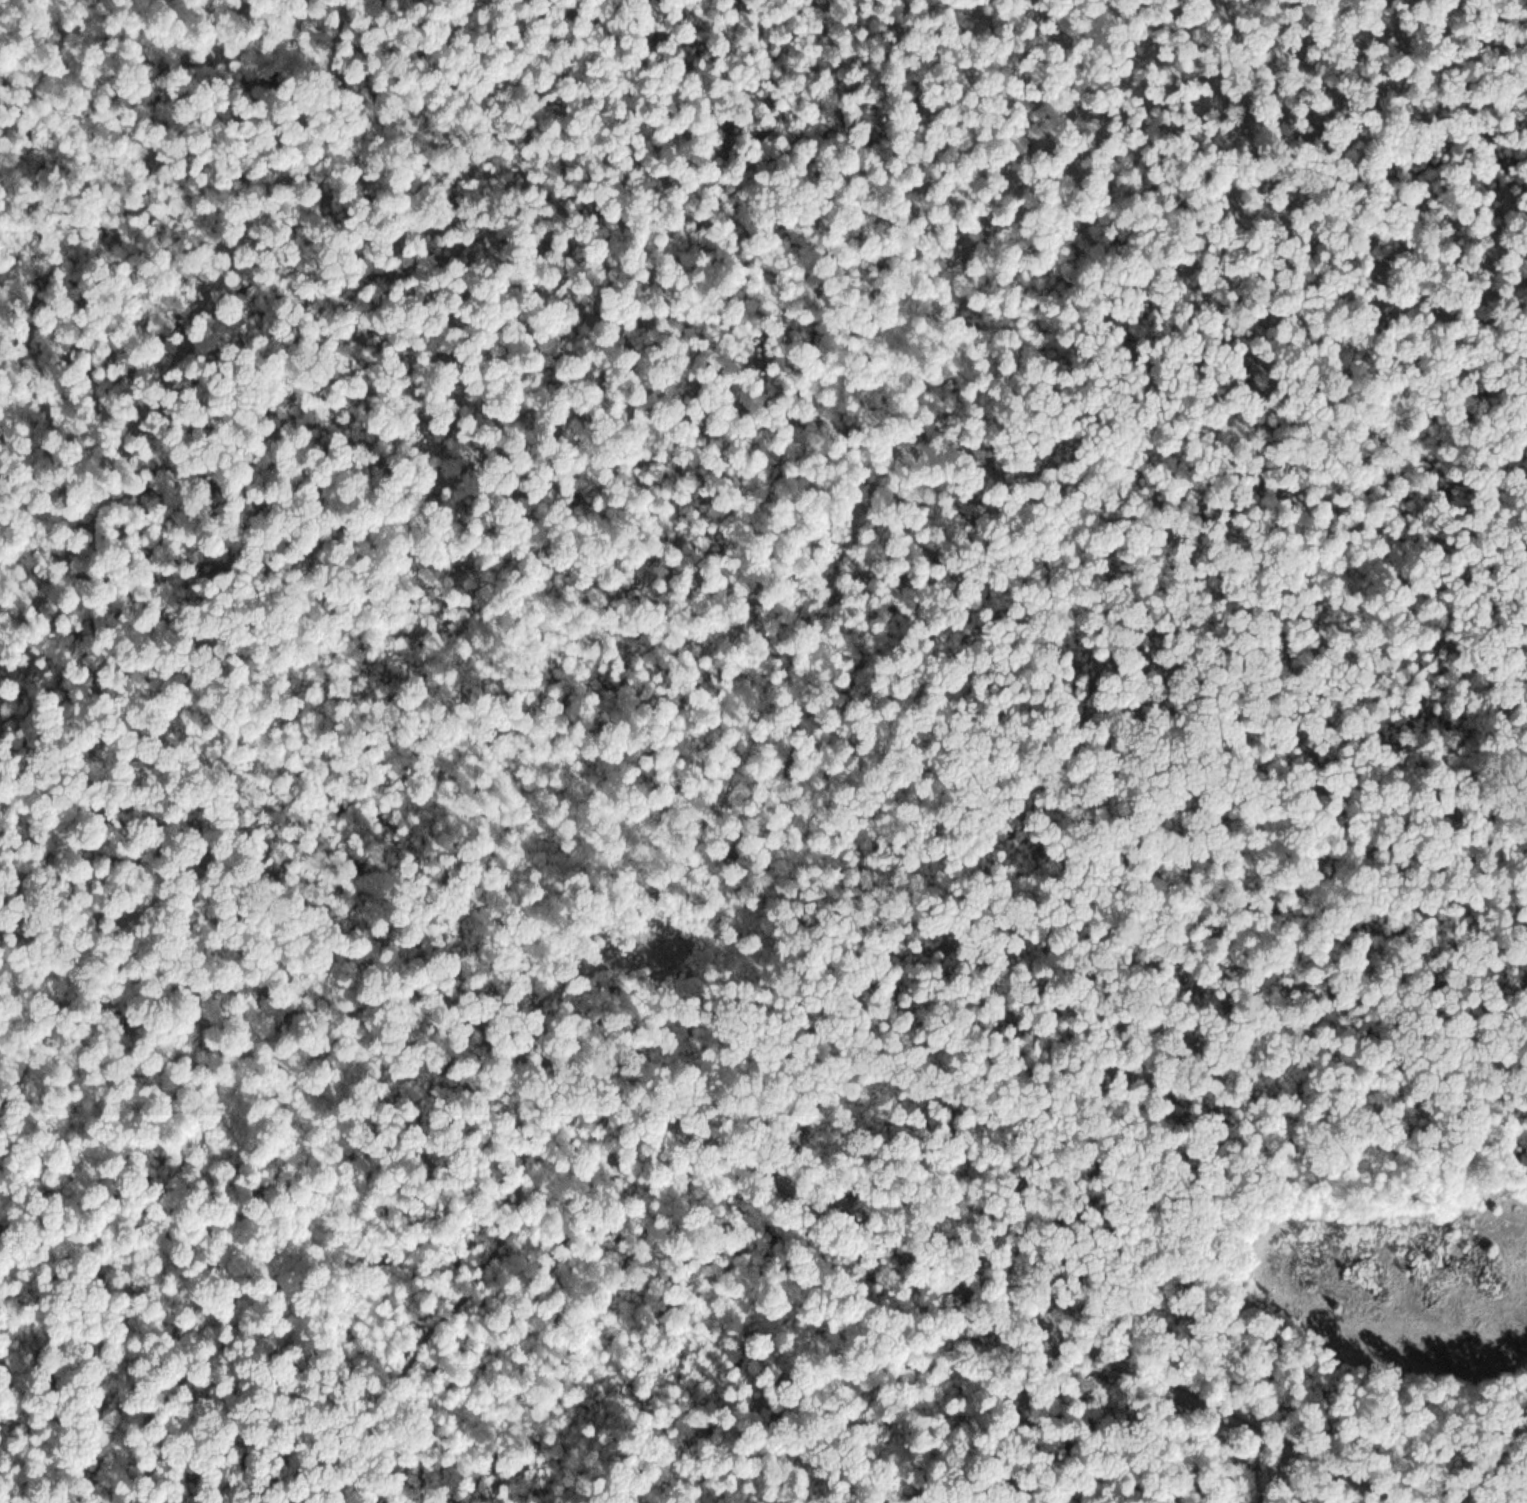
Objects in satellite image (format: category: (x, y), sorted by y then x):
road: (690, 1136)
quarry: (1406, 1281)
road: (1492, 1447)
road: (1266, 1475)

